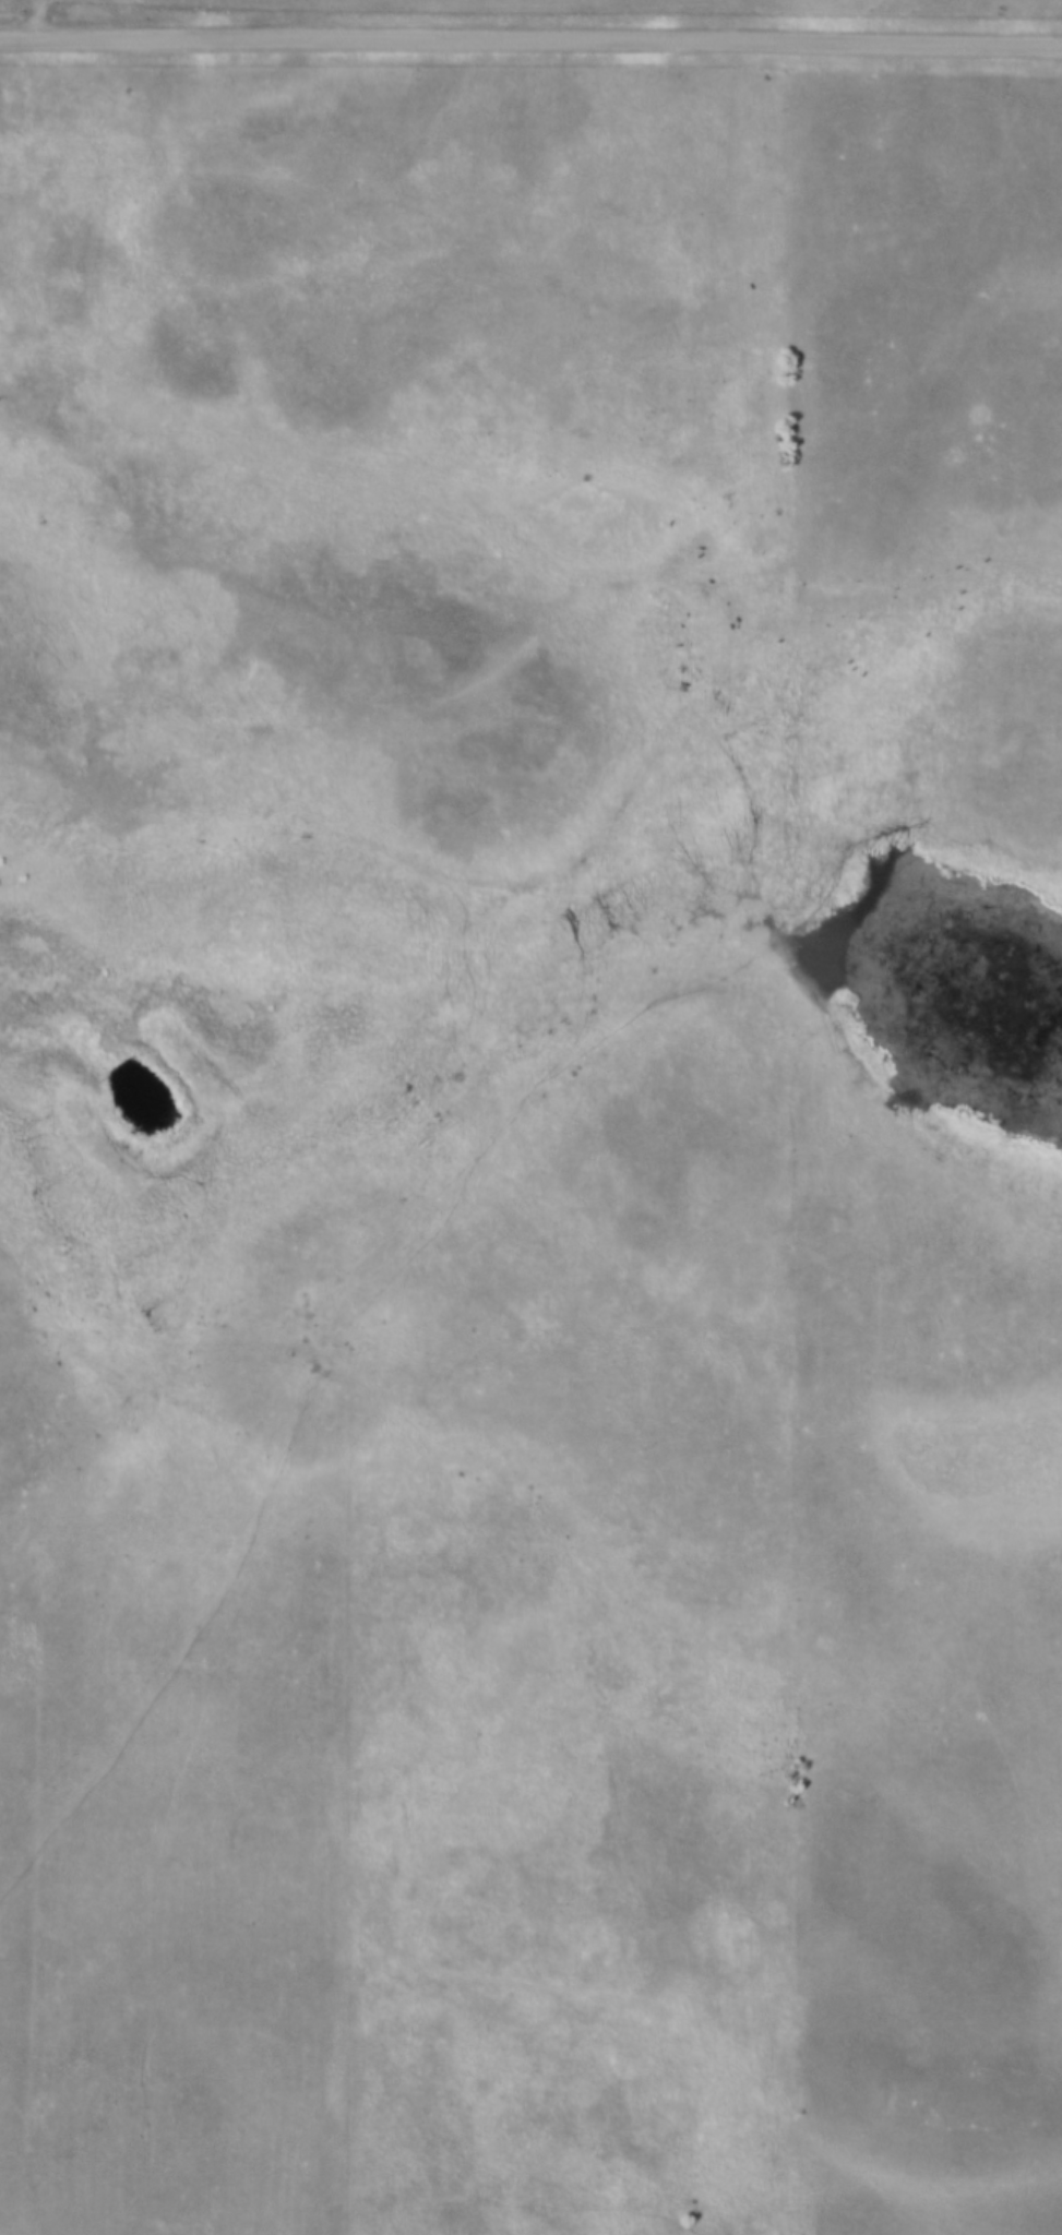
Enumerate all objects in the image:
road: (530, 35)

